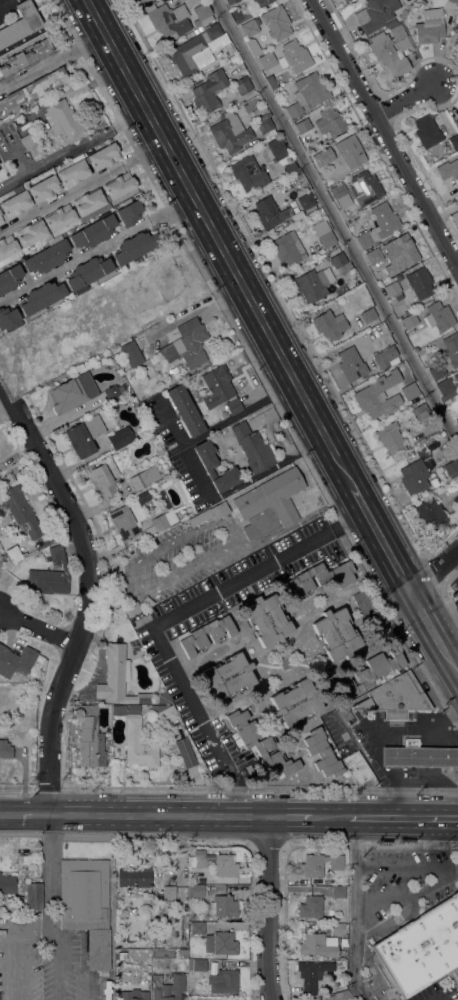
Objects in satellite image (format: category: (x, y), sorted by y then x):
building: (253, 0)
building: (139, 1)
building: (230, 1)
building: (346, 1)
building: (454, 1)
building: (262, 2)
road: (4, 3)
building: (201, 12)
building: (375, 14)
building: (240, 15)
building: (401, 16)
building: (169, 20)
building: (276, 22)
building: (21, 23)
building: (389, 23)
building: (429, 29)
building: (247, 38)
road: (81, 45)
building: (456, 45)
building: (197, 49)
building: (391, 50)
building: (294, 56)
building: (25, 58)
building: (267, 60)
road: (30, 73)
building: (271, 82)
building: (242, 85)
building: (209, 90)
building: (32, 91)
building: (307, 92)
road: (406, 101)
building: (260, 109)
building: (64, 121)
building: (330, 121)
building: (456, 122)
building: (264, 125)
building: (302, 125)
building: (426, 131)
road: (384, 132)
building: (229, 133)
building: (28, 141)
building: (454, 141)
road: (71, 147)
building: (277, 148)
building: (349, 150)
building: (103, 156)
building: (320, 158)
building: (289, 167)
building: (448, 169)
building: (72, 171)
building: (248, 173)
building: (297, 176)
building: (44, 188)
building: (365, 188)
road: (82, 189)
building: (340, 197)
building: (306, 201)
building: (15, 202)
building: (128, 212)
building: (270, 212)
building: (0, 214)
building: (64, 216)
building: (455, 217)
building: (1, 219)
road: (336, 221)
building: (379, 225)
building: (93, 232)
building: (324, 234)
road: (218, 243)
building: (134, 247)
building: (288, 248)
road: (95, 249)
building: (399, 254)
building: (374, 256)
building: (47, 257)
building: (337, 259)
building: (89, 273)
building: (399, 277)
building: (9, 278)
building: (419, 282)
building: (312, 283)
building: (161, 284)
building: (391, 288)
building: (363, 290)
building: (40, 299)
building: (146, 314)
building: (367, 315)
building: (438, 316)
building: (8, 318)
building: (409, 321)
building: (329, 325)
building: (186, 344)
building: (451, 348)
building: (131, 354)
building: (384, 356)
building: (350, 364)
building: (436, 371)
building: (456, 378)
building: (220, 389)
building: (445, 389)
building: (409, 391)
building: (111, 392)
building: (70, 395)
building: (378, 395)
building: (185, 410)
building: (421, 411)
building: (456, 420)
road: (215, 427)
building: (84, 435)
building: (120, 438)
building: (390, 438)
building: (253, 447)
building: (209, 465)
building: (451, 468)
building: (414, 476)
building: (3, 479)
building: (104, 479)
building: (138, 481)
building: (180, 490)
building: (456, 500)
building: (269, 504)
building: (20, 511)
building: (209, 513)
building: (431, 513)
building: (163, 515)
building: (127, 519)
road: (380, 539)
building: (14, 553)
road: (453, 560)
road: (433, 570)
building: (50, 574)
building: (318, 578)
building: (119, 590)
road: (84, 594)
building: (363, 600)
building: (132, 608)
road: (165, 618)
building: (267, 620)
road: (446, 626)
road: (38, 629)
road: (433, 633)
building: (336, 634)
building: (195, 636)
building: (144, 658)
building: (16, 661)
building: (371, 671)
building: (227, 676)
building: (117, 677)
building: (162, 697)
building: (395, 697)
building: (295, 702)
building: (119, 709)
building: (133, 709)
building: (165, 713)
road: (450, 714)
building: (345, 716)
road: (450, 729)
building: (89, 739)
building: (258, 742)
building: (139, 744)
building: (5, 749)
building: (185, 752)
building: (321, 753)
building: (418, 755)
road: (378, 759)
building: (359, 770)
road: (398, 794)
road: (452, 795)
road: (134, 816)
road: (290, 817)
road: (329, 817)
road: (403, 817)
building: (217, 863)
building: (317, 866)
road: (406, 869)
road: (53, 873)
building: (135, 876)
parking lot: (404, 881)
building: (7, 884)
building: (195, 890)
building: (338, 892)
building: (168, 895)
building: (33, 896)
building: (86, 905)
building: (223, 906)
building: (310, 906)
road: (266, 908)
road: (353, 909)
building: (29, 914)
building: (197, 928)
building: (338, 929)
road: (4, 942)
building: (221, 943)
building: (319, 945)
building: (421, 948)
building: (182, 953)
building: (121, 955)
road: (60, 964)
building: (197, 964)
building: (311, 974)
building: (455, 974)
building: (223, 981)
building: (167, 987)
building: (123, 994)
building: (342, 995)

